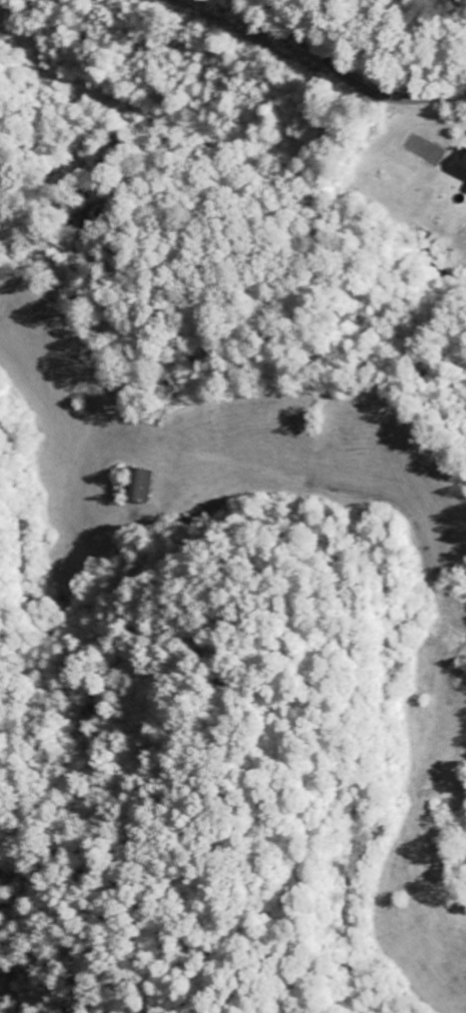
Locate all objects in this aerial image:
road: (352, 80)
building: (462, 165)
building: (146, 485)

